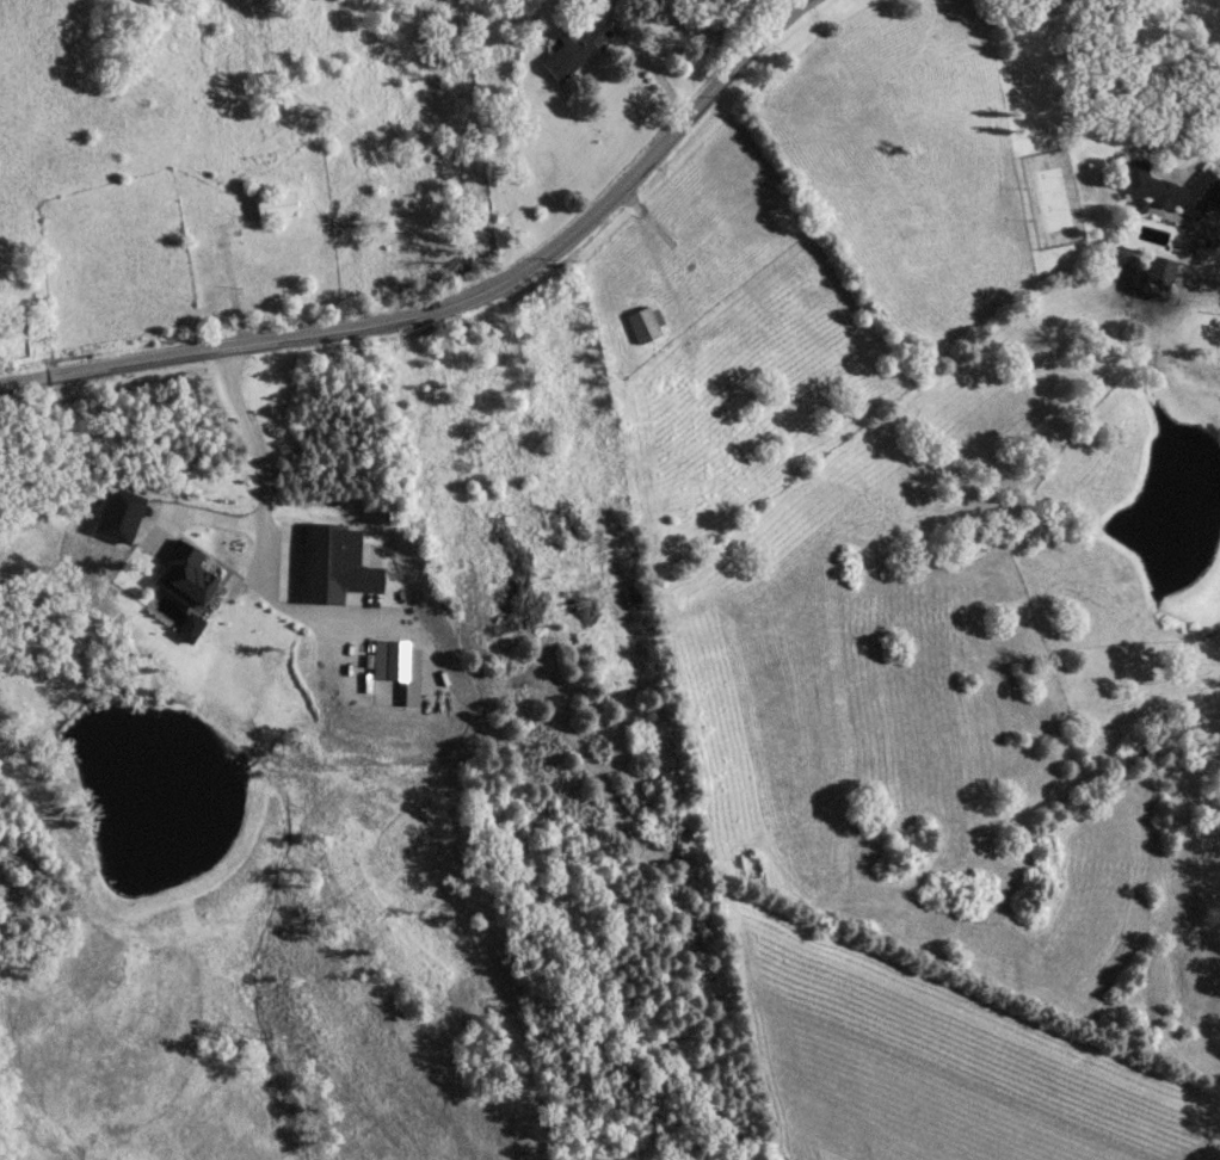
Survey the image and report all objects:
road: (762, 36)
building: (574, 48)
road: (652, 66)
building: (1171, 189)
building: (272, 205)
building: (1154, 276)
road: (403, 316)
building: (640, 322)
road: (267, 506)

